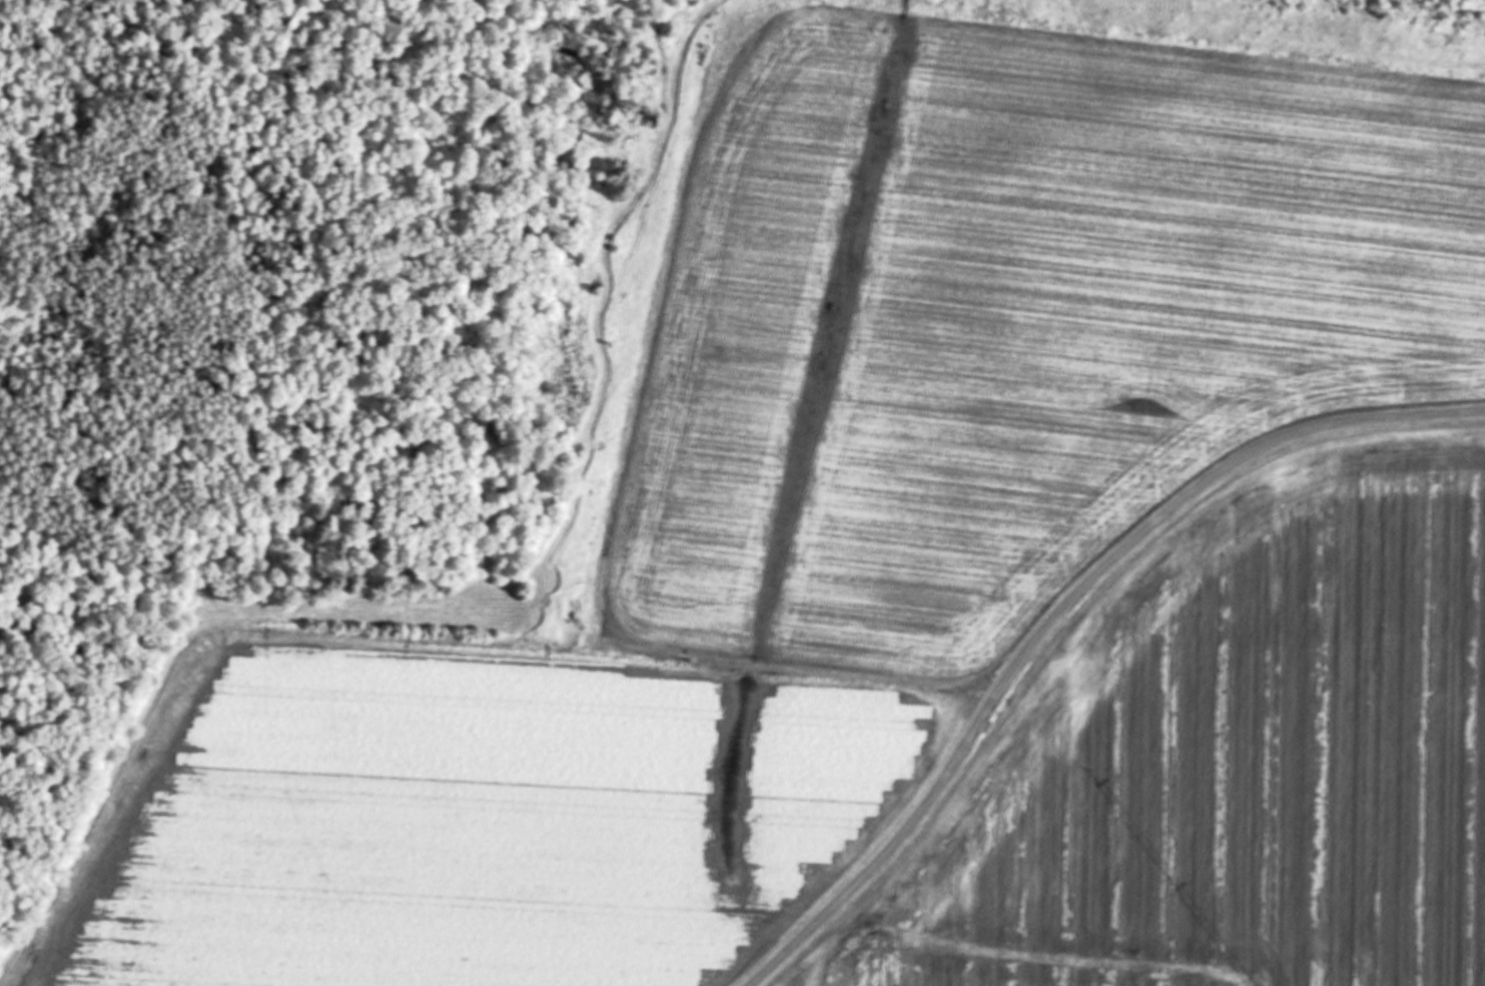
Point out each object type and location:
road: (1059, 609)

